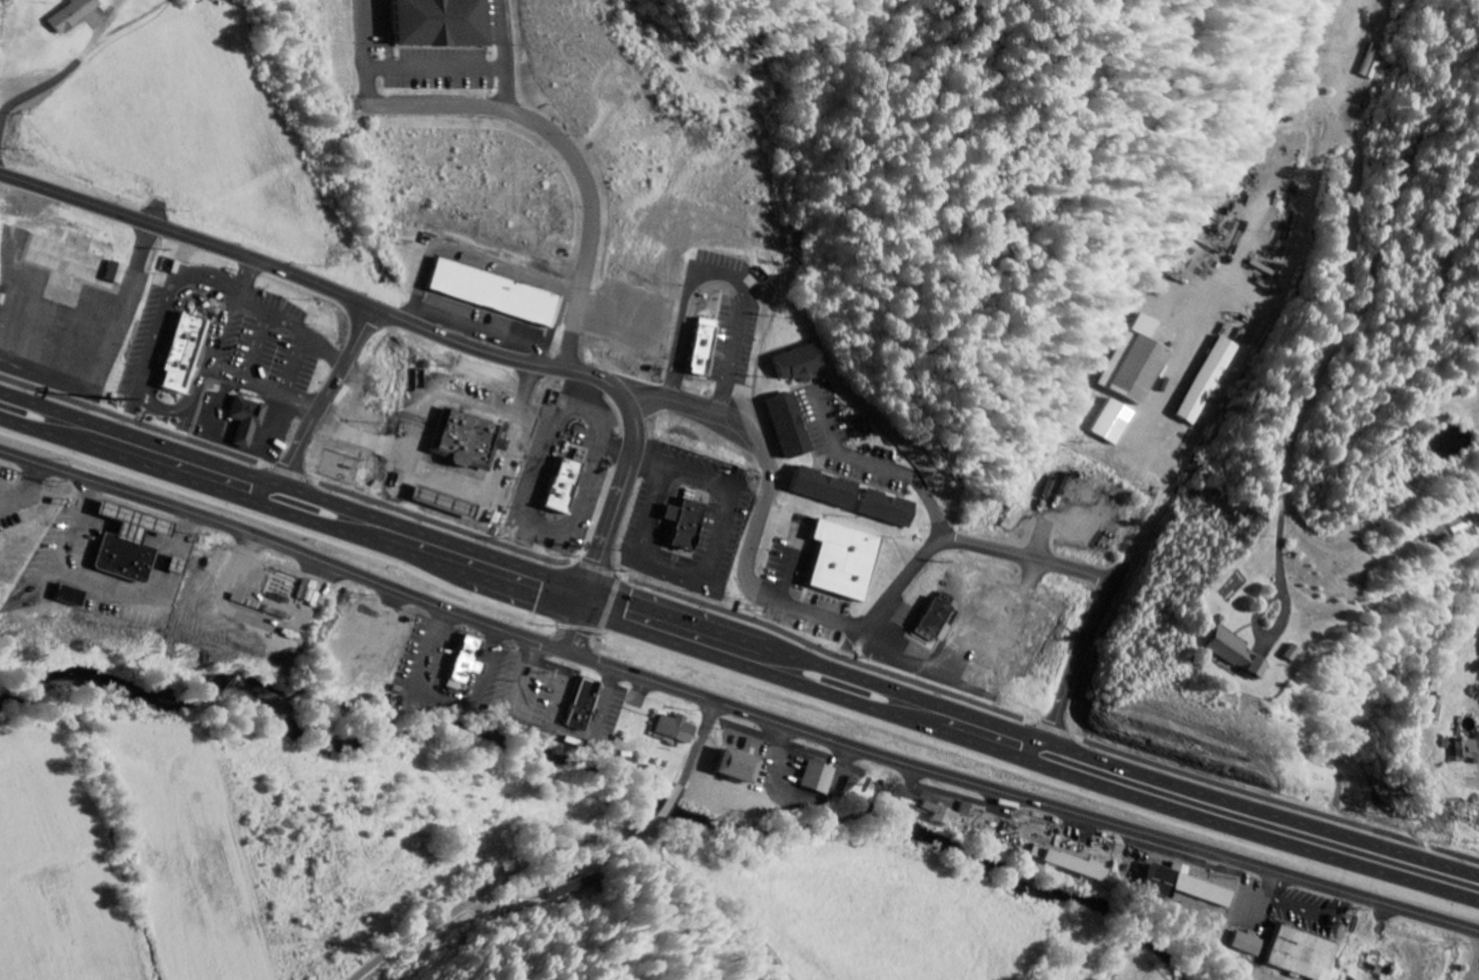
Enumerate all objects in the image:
building: (74, 15)
building: (444, 24)
road: (47, 87)
building: (114, 273)
building: (494, 294)
road: (437, 334)
road: (216, 344)
building: (703, 348)
building: (181, 354)
building: (801, 363)
building: (1138, 363)
road: (1318, 380)
building: (1205, 381)
road: (1226, 388)
road: (328, 398)
building: (245, 420)
building: (1111, 423)
building: (790, 427)
building: (864, 428)
building: (465, 441)
road: (415, 447)
road: (652, 464)
building: (563, 486)
road: (722, 489)
building: (825, 489)
building: (888, 510)
road: (936, 520)
building: (685, 525)
building: (1434, 535)
building: (127, 544)
building: (844, 562)
traffic signals: (589, 590)
building: (306, 591)
building: (68, 597)
traffic signals: (583, 608)
building: (936, 620)
road: (738, 637)
road: (442, 652)
building: (1234, 653)
road: (738, 661)
building: (466, 665)
road: (735, 706)
building: (583, 707)
building: (1439, 713)
building: (677, 730)
road: (703, 744)
building: (1461, 749)
building: (738, 768)
building: (817, 779)
river: (612, 790)
road: (676, 799)
building: (1074, 865)
road: (511, 880)
building: (584, 885)
building: (1184, 885)
road: (713, 897)
building: (1244, 943)
building: (1299, 954)

